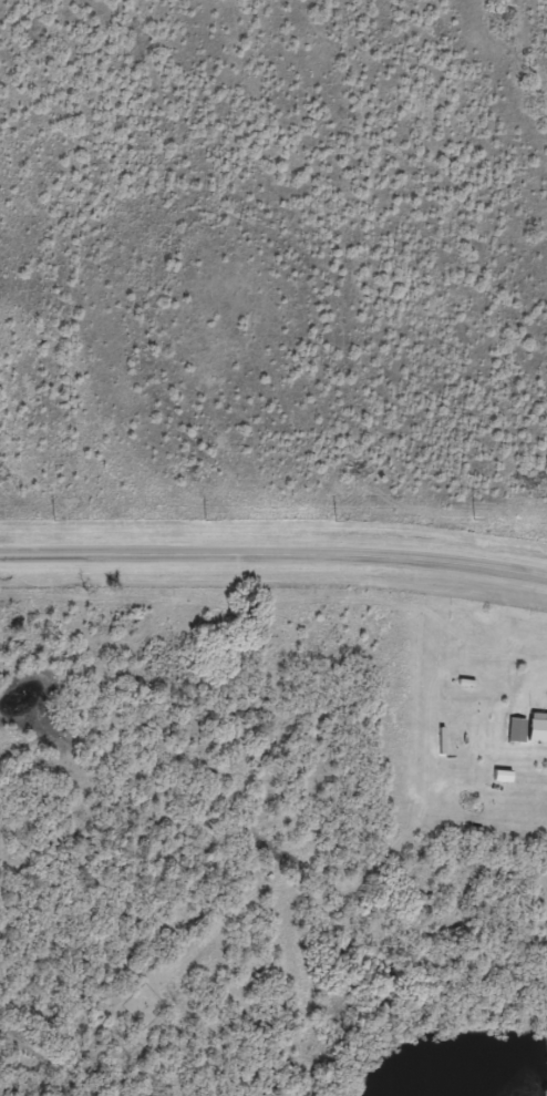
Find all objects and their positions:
road: (273, 554)
building: (517, 738)

